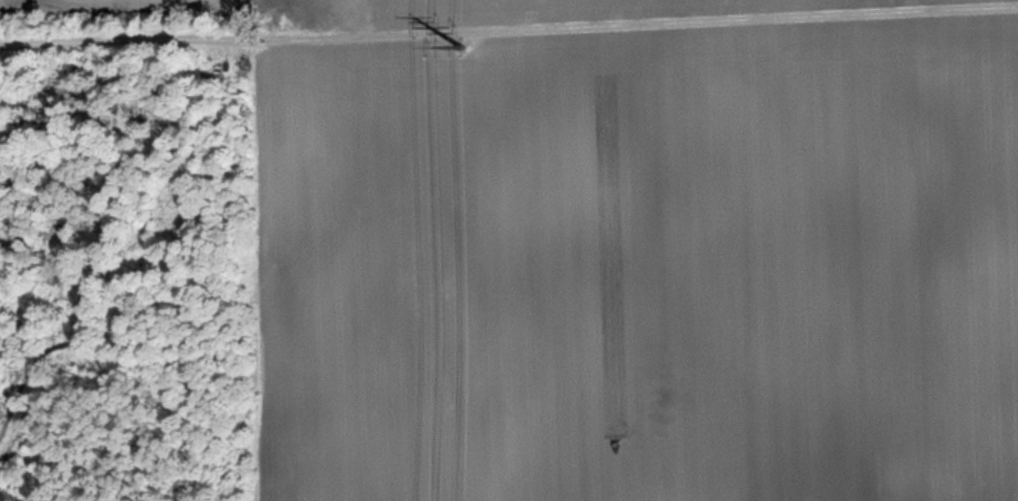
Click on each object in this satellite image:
power tower: (453, 42)

